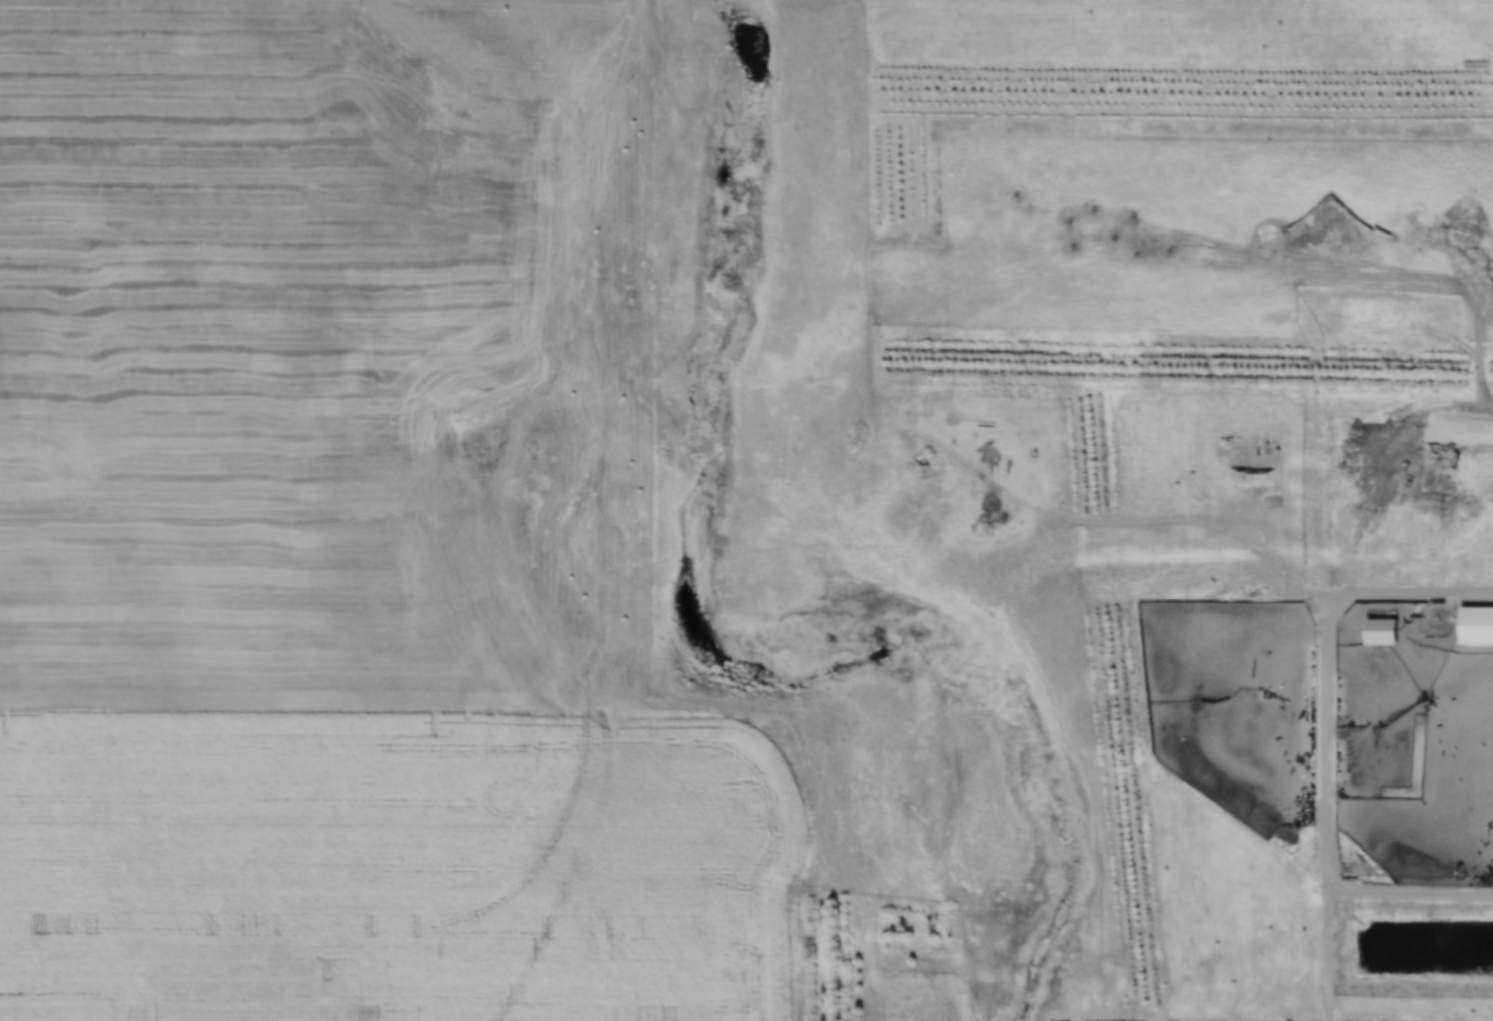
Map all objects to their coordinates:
building: (1381, 630)
building: (1464, 640)

